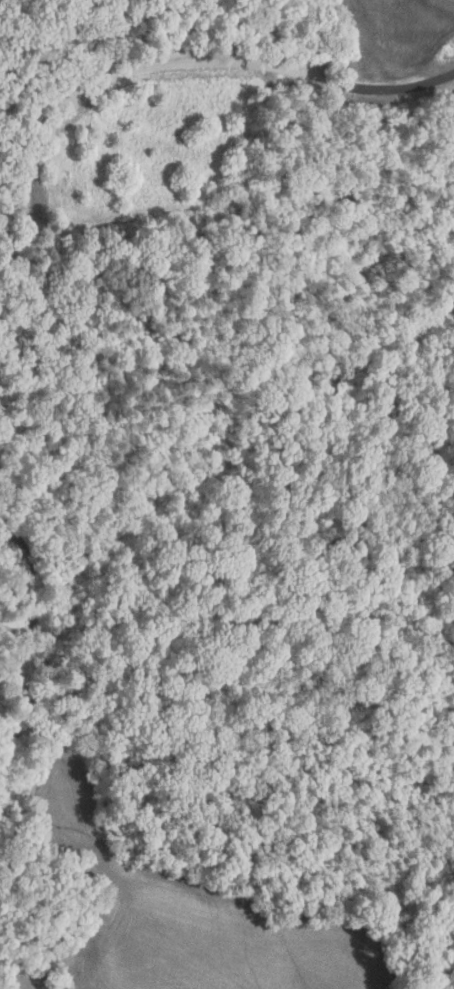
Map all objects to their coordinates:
road: (170, 68)
crop: (180, 910)
crop: (20, 976)

